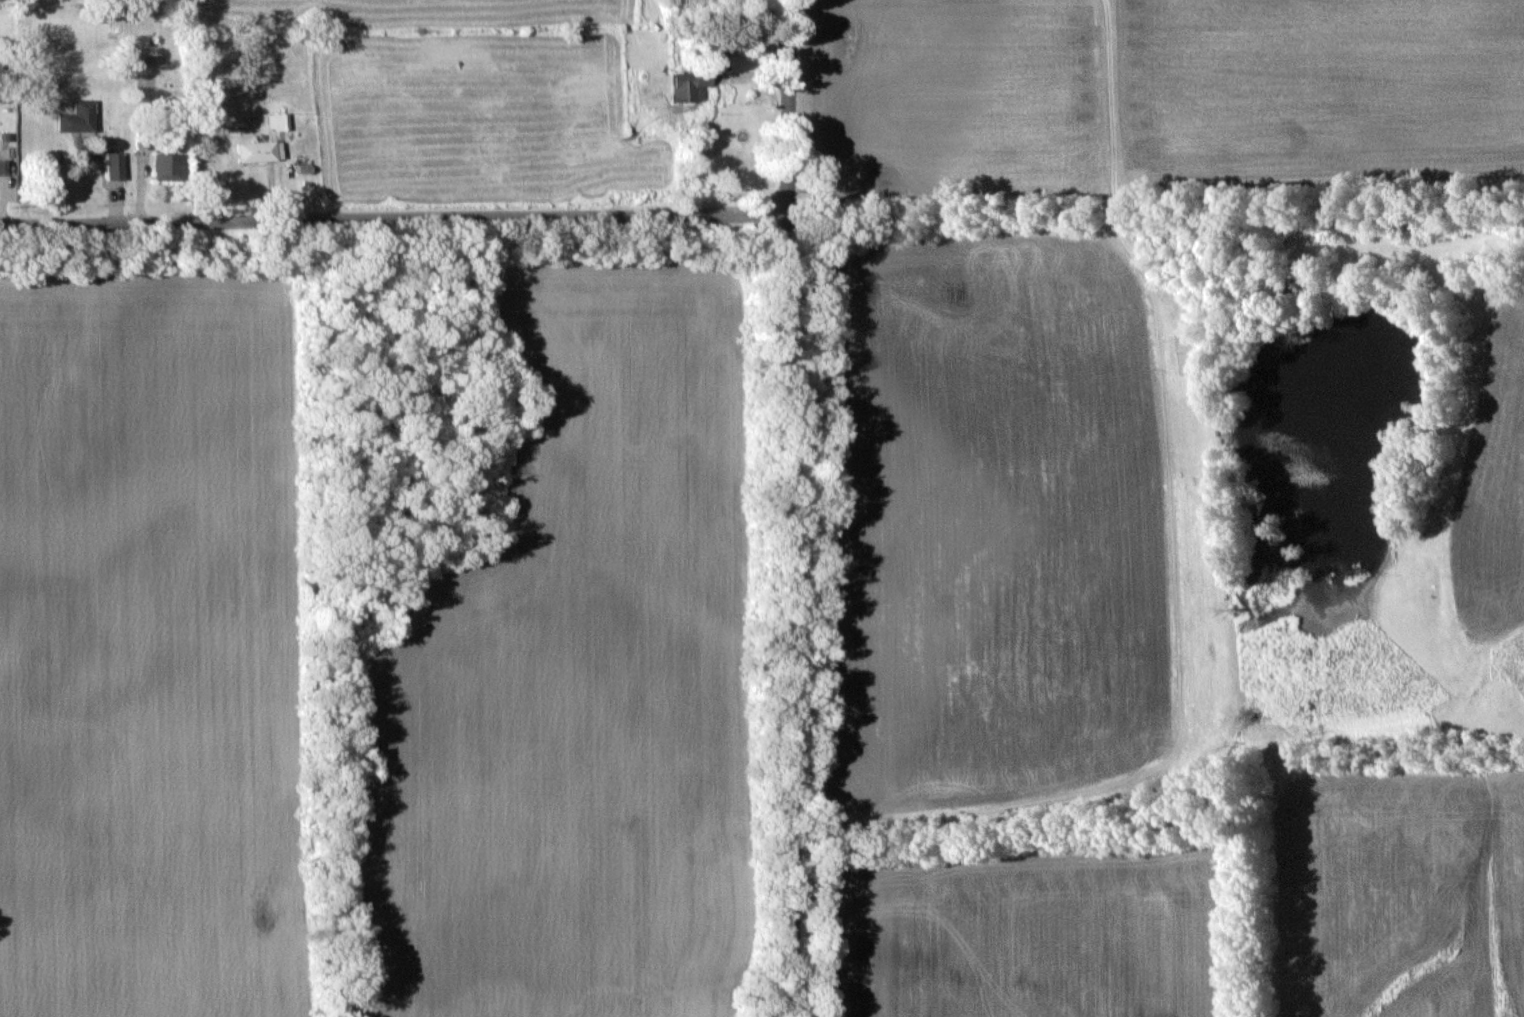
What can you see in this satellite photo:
building: (690, 85)
building: (78, 117)
building: (278, 121)
building: (260, 150)
building: (115, 165)
building: (3, 166)
building: (168, 166)
road: (395, 213)
road: (792, 508)

